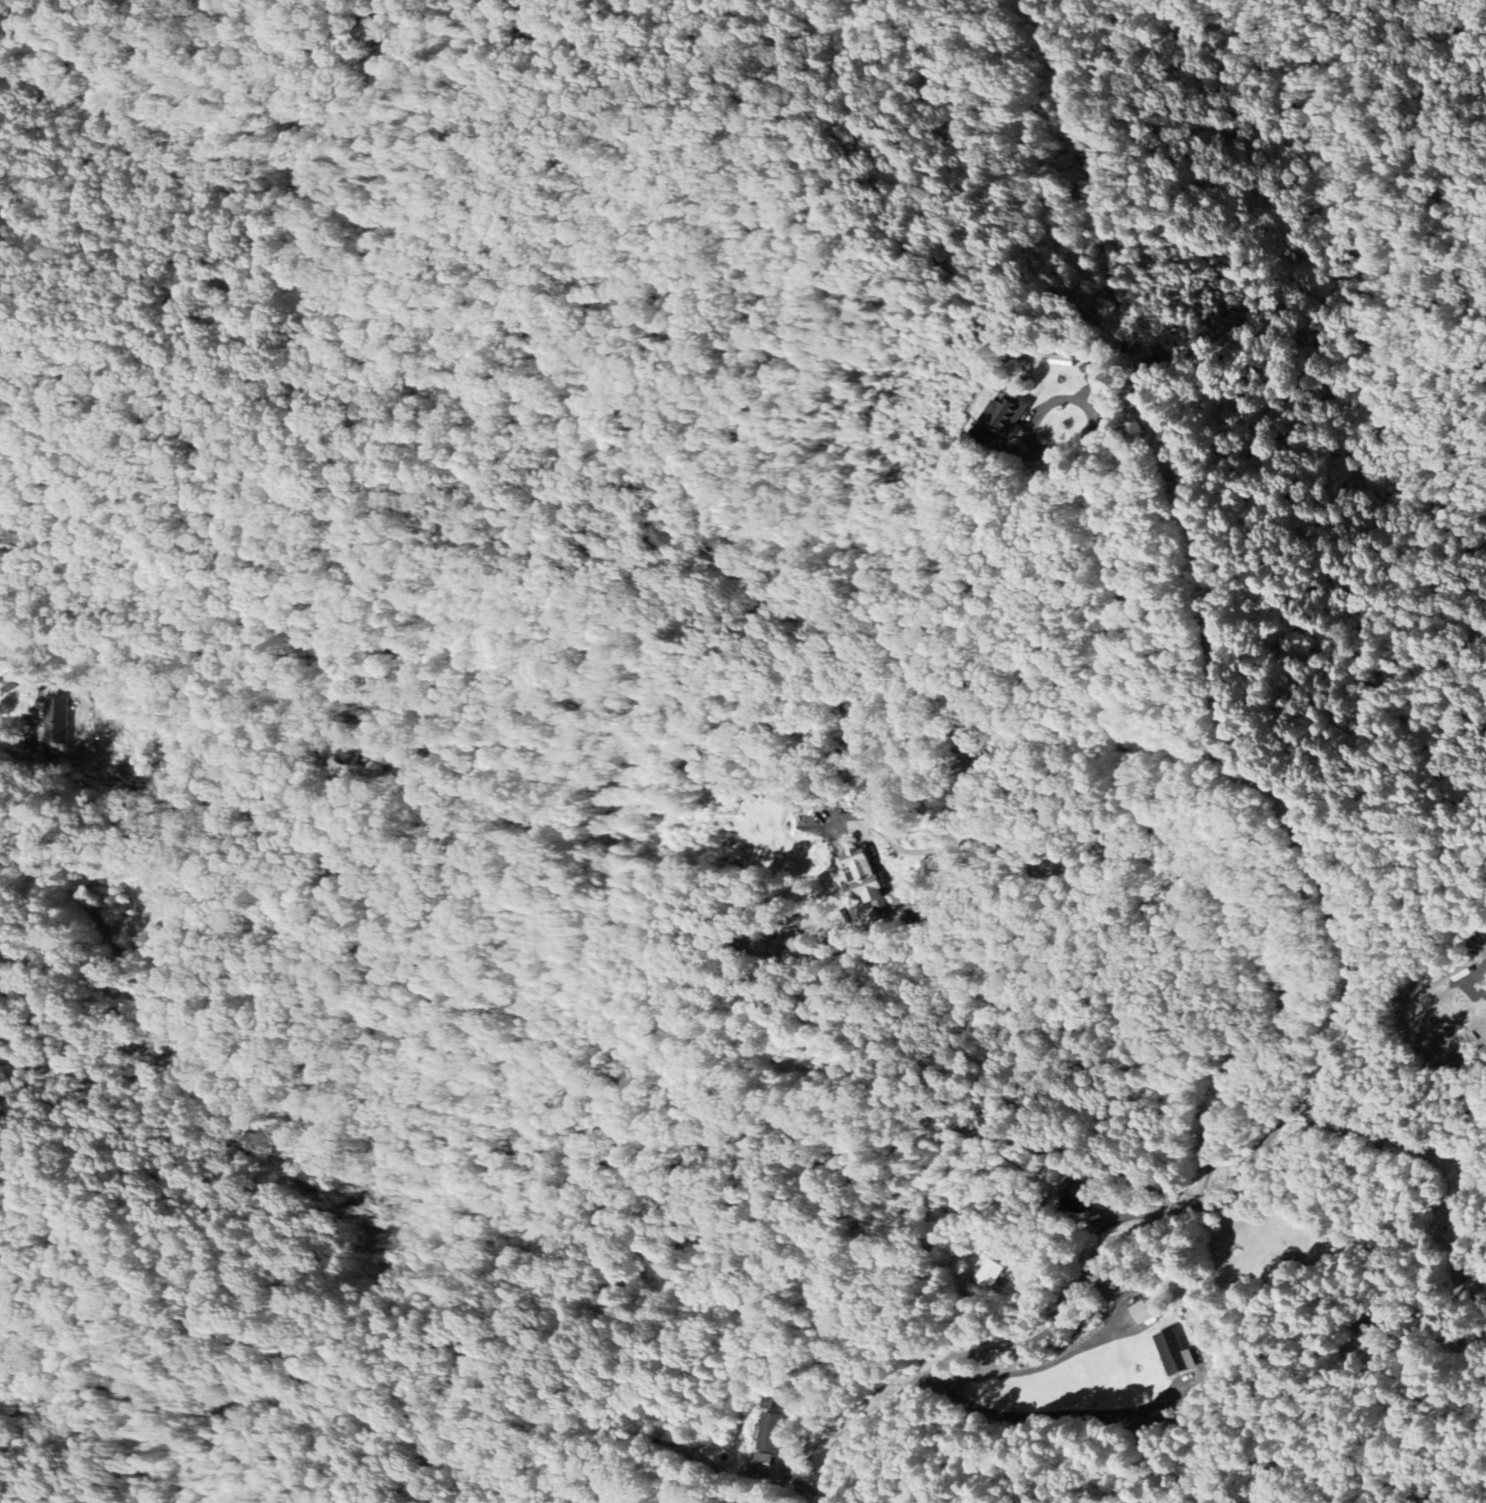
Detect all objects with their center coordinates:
building: (1092, 391)
building: (1003, 413)
building: (988, 434)
building: (55, 720)
road: (1126, 756)
road: (1003, 843)
building: (929, 868)
building: (860, 875)
building: (900, 898)
road: (1325, 1110)
building: (990, 1273)
building: (1142, 1311)
road: (1007, 1345)
building: (1172, 1352)
road: (1029, 1371)
road: (1043, 1414)
building: (768, 1432)
building: (761, 1465)

